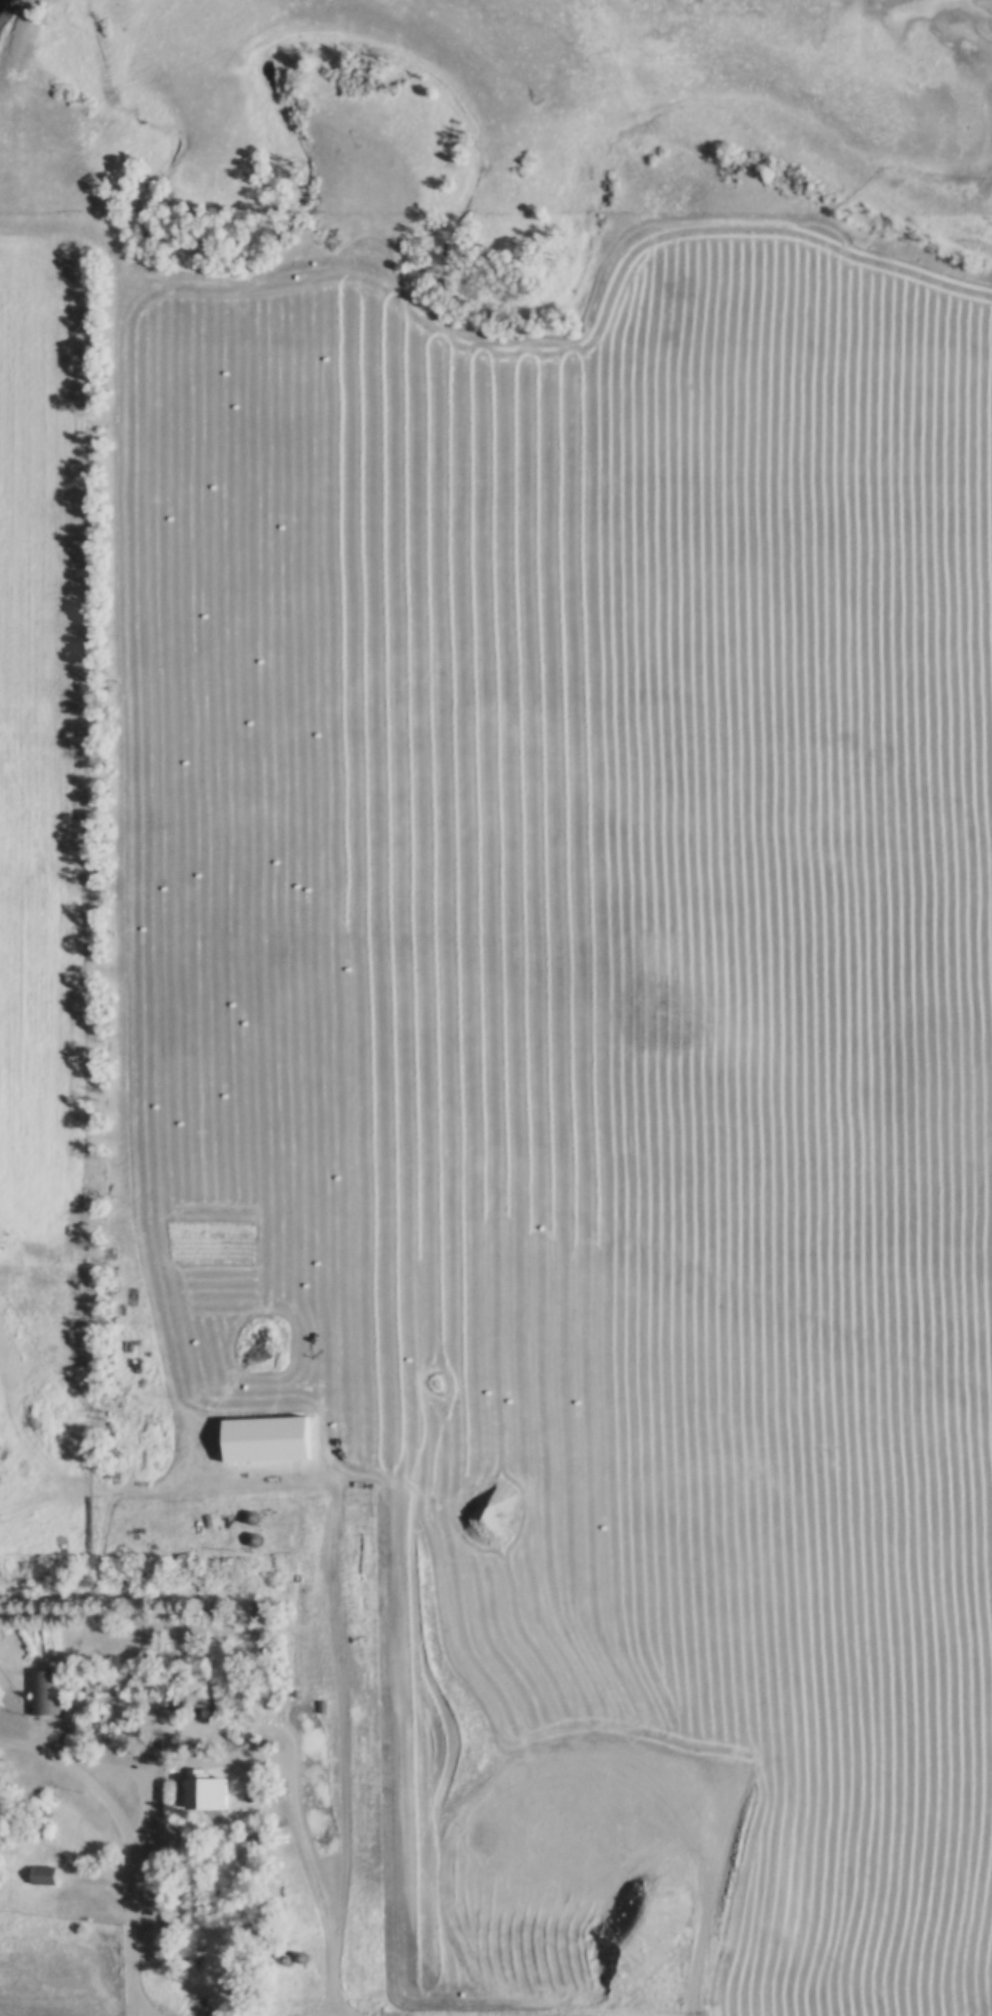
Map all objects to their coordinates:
road: (122, 872)
building: (247, 1517)
building: (43, 1694)
quarry: (602, 1704)
building: (152, 1751)
road: (106, 1770)
building: (194, 1790)
building: (40, 1876)
road: (133, 1883)

